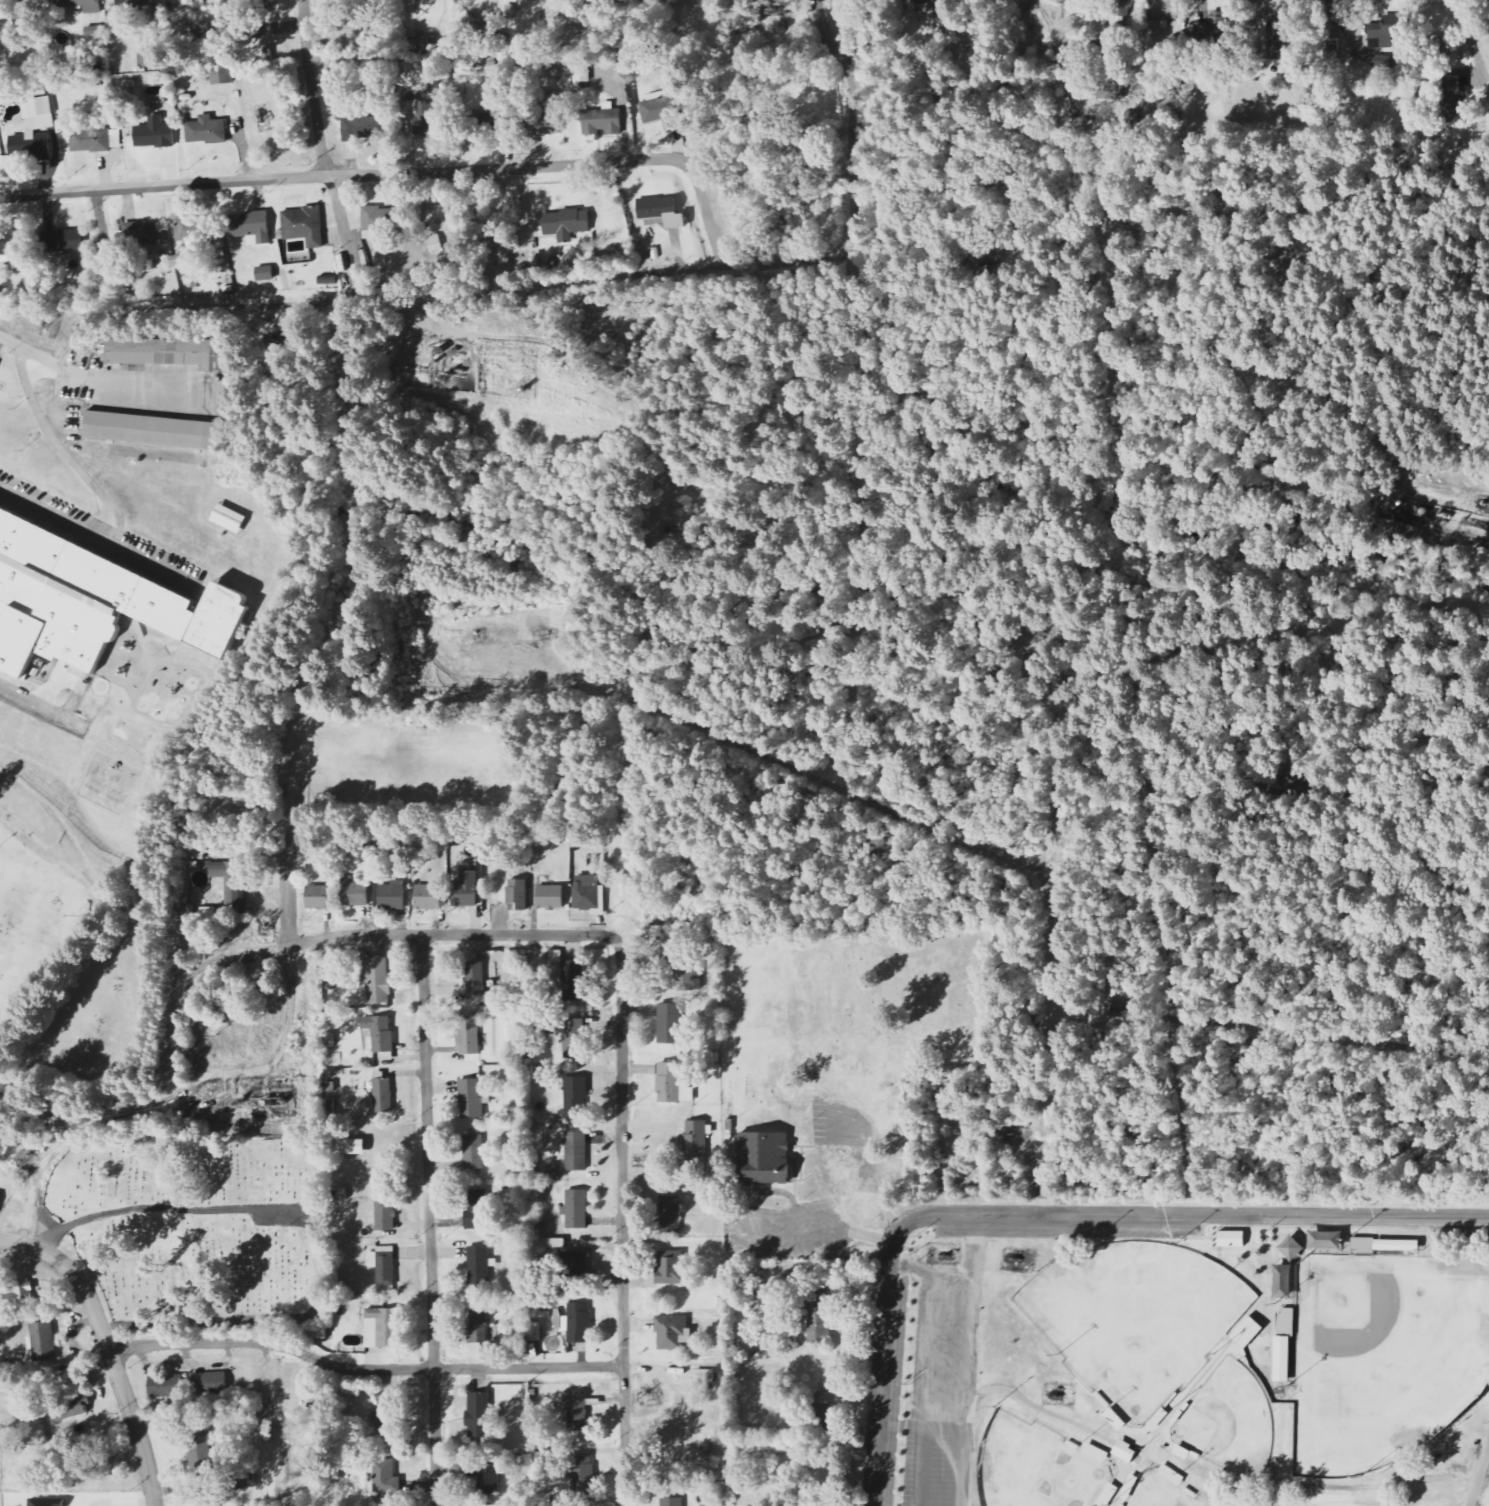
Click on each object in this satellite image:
building: (189, 1)
building: (258, 4)
building: (81, 5)
building: (19, 9)
building: (254, 29)
building: (1388, 31)
building: (1217, 32)
road: (1471, 39)
building: (1275, 40)
building: (147, 57)
building: (581, 74)
building: (222, 76)
building: (405, 90)
building: (1451, 95)
building: (36, 107)
building: (661, 112)
building: (546, 114)
building: (423, 119)
building: (602, 121)
building: (487, 125)
building: (361, 128)
building: (206, 130)
building: (154, 134)
building: (31, 140)
building: (94, 140)
road: (322, 146)
road: (398, 174)
road: (850, 184)
building: (660, 212)
building: (566, 222)
building: (374, 224)
building: (303, 225)
building: (250, 227)
building: (195, 228)
building: (143, 235)
building: (62, 241)
road: (103, 242)
building: (8, 247)
building: (264, 273)
road: (356, 295)
road: (371, 300)
road: (112, 303)
road: (10, 341)
building: (166, 353)
road: (114, 382)
building: (152, 430)
road: (103, 496)
building: (228, 519)
parking lot: (101, 533)
road: (153, 565)
building: (128, 585)
building: (51, 618)
road: (39, 706)
building: (230, 880)
building: (465, 887)
building: (587, 892)
building: (355, 894)
building: (517, 894)
building: (392, 896)
building: (549, 896)
building: (318, 897)
building: (428, 897)
road: (401, 936)
building: (688, 973)
building: (475, 977)
building: (378, 979)
building: (572, 980)
building: (669, 1023)
building: (468, 1034)
building: (380, 1035)
building: (573, 1039)
building: (329, 1040)
road: (282, 1046)
building: (672, 1084)
road: (169, 1091)
building: (383, 1095)
building: (574, 1096)
building: (471, 1098)
building: (696, 1142)
building: (354, 1147)
building: (575, 1151)
building: (472, 1152)
building: (763, 1158)
road: (170, 1208)
building: (473, 1209)
building: (577, 1209)
building: (385, 1213)
building: (670, 1213)
road: (1193, 1216)
road: (429, 1220)
road: (622, 1222)
park: (197, 1233)
building: (1231, 1239)
building: (1325, 1240)
road: (19, 1244)
building: (1396, 1245)
road: (973, 1246)
building: (1362, 1246)
building: (713, 1247)
building: (1291, 1248)
building: (383, 1265)
building: (478, 1265)
building: (671, 1267)
building: (1283, 1282)
building: (18, 1294)
building: (818, 1318)
park: (1136, 1319)
road: (287, 1320)
building: (1286, 1322)
building: (578, 1323)
building: (382, 1328)
building: (481, 1328)
building: (534, 1332)
building: (672, 1332)
building: (1247, 1332)
building: (318, 1333)
building: (43, 1341)
road: (968, 1350)
park: (1385, 1357)
building: (1282, 1359)
road: (881, 1365)
road: (113, 1366)
park: (1190, 1367)
road: (363, 1371)
building: (704, 1376)
building: (208, 1383)
building: (165, 1386)
road: (927, 1390)
building: (510, 1393)
road: (1037, 1409)
building: (73, 1410)
building: (822, 1410)
building: (577, 1411)
building: (477, 1412)
building: (383, 1421)
park: (1230, 1421)
road: (920, 1426)
building: (1125, 1451)
building: (1096, 1453)
building: (201, 1454)
park: (1035, 1468)
building: (385, 1476)
building: (485, 1476)
road: (1479, 1477)
building: (576, 1481)
road: (1386, 1484)
park: (1160, 1492)
building: (45, 1501)
building: (672, 1502)

